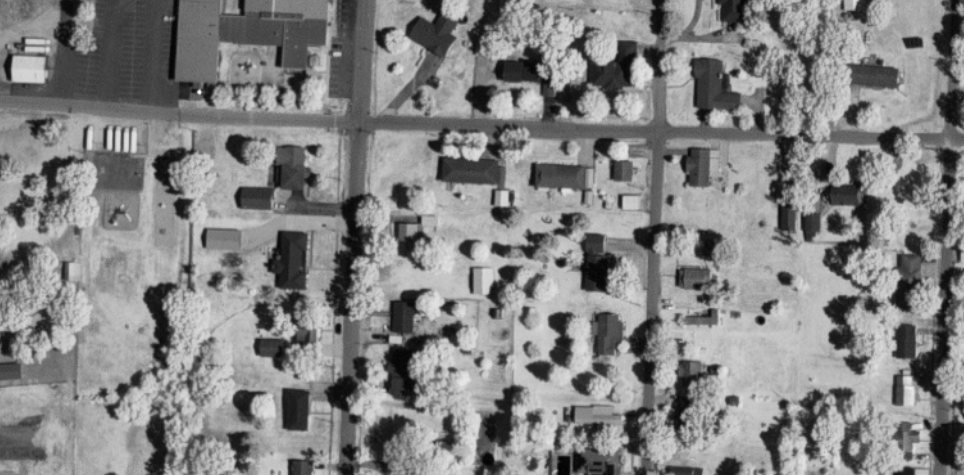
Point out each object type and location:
building: (119, 9)
building: (738, 11)
building: (249, 32)
building: (118, 33)
building: (439, 33)
building: (32, 68)
building: (619, 68)
building: (530, 70)
building: (128, 74)
building: (875, 75)
building: (717, 86)
road: (181, 111)
road: (511, 125)
road: (811, 134)
building: (298, 167)
building: (701, 167)
building: (474, 170)
building: (625, 171)
building: (563, 176)
building: (849, 194)
building: (261, 197)
building: (633, 202)
building: (816, 224)
building: (413, 236)
road: (358, 237)
road: (656, 237)
road: (948, 237)
building: (220, 238)
building: (295, 260)
building: (599, 262)
building: (75, 271)
building: (697, 279)
building: (485, 280)
building: (913, 283)
park: (41, 290)
building: (407, 318)
building: (703, 321)
building: (310, 332)
building: (612, 333)
building: (909, 341)
building: (276, 348)
building: (12, 371)
building: (407, 372)
building: (693, 373)
building: (909, 390)
building: (301, 409)
building: (690, 413)
building: (602, 419)
building: (907, 441)
building: (602, 461)
building: (305, 467)
building: (690, 471)
building: (911, 471)
building: (419, 474)

